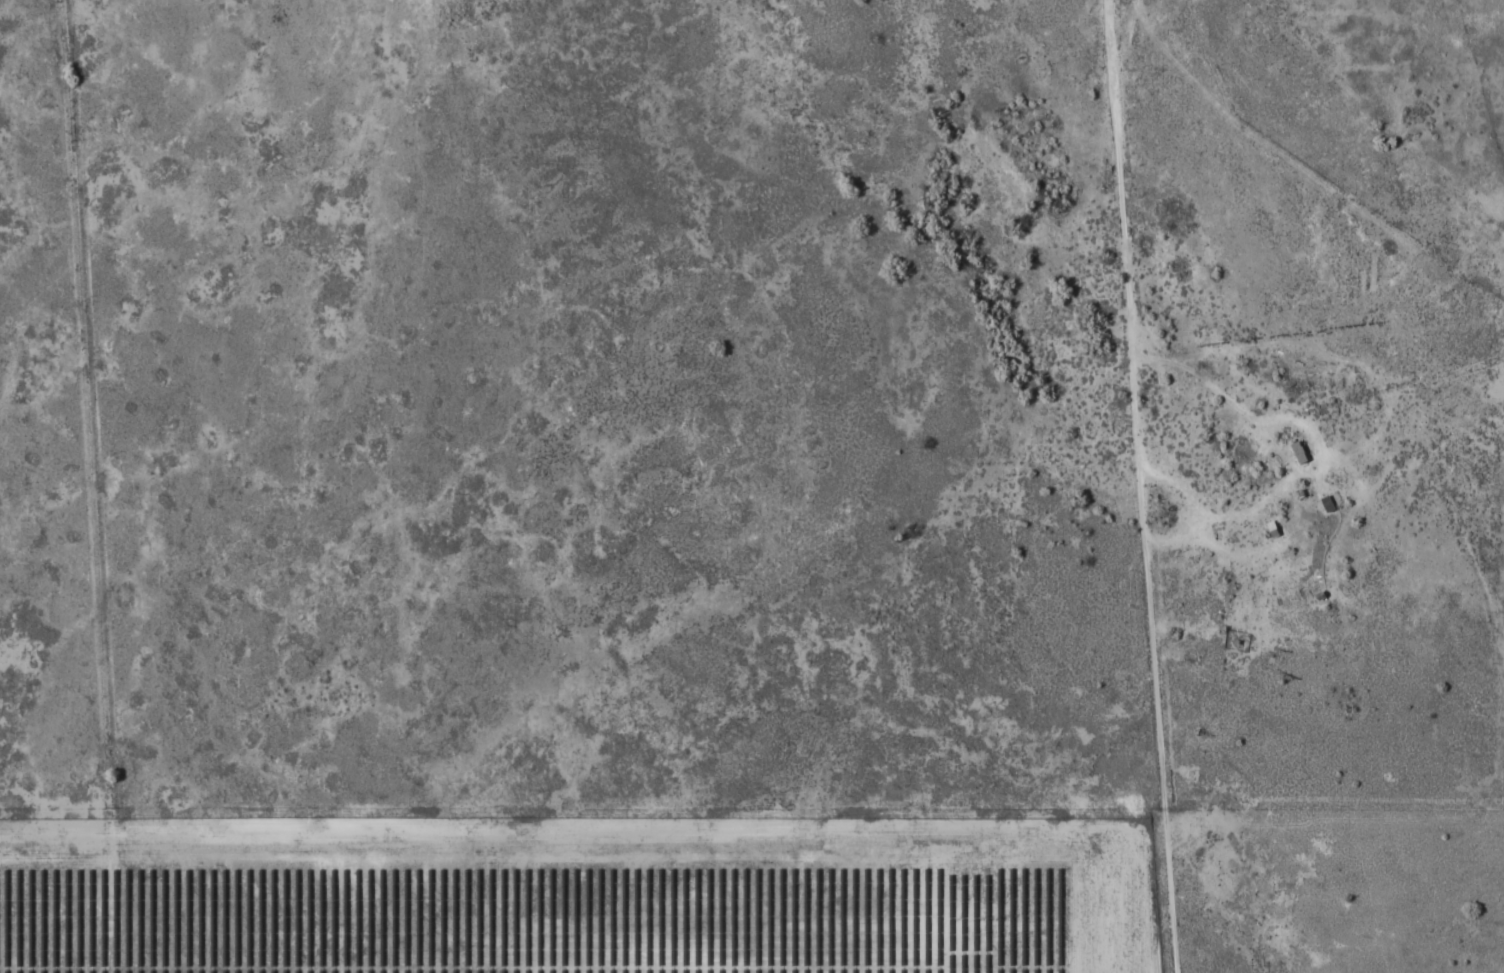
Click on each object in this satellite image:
road: (758, 197)
road: (119, 283)
road: (351, 289)
road: (1141, 485)
solar farm: (556, 917)

